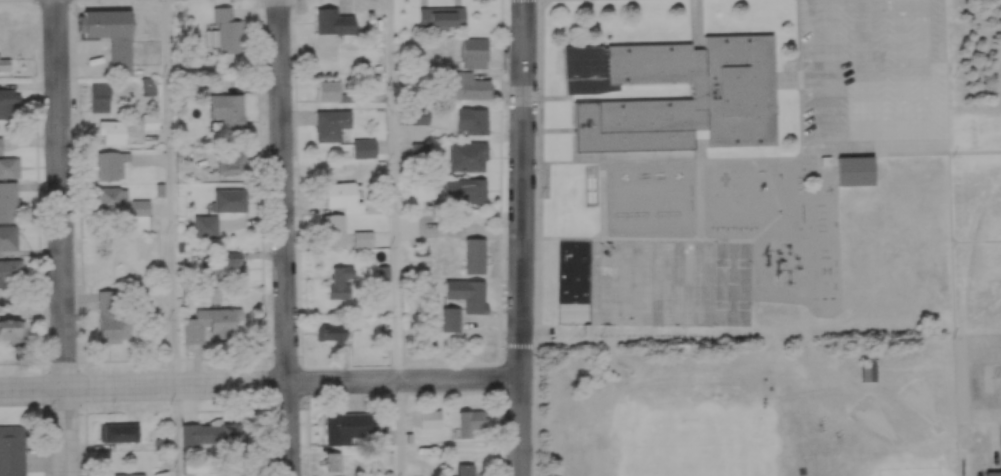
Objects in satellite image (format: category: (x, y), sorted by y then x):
building: (442, 15)
building: (335, 20)
building: (226, 29)
building: (114, 33)
building: (475, 51)
building: (469, 84)
building: (329, 88)
building: (734, 93)
building: (101, 96)
building: (6, 101)
building: (228, 109)
building: (474, 119)
building: (331, 123)
building: (112, 131)
building: (2, 144)
building: (365, 147)
building: (469, 155)
building: (236, 160)
building: (111, 163)
building: (10, 166)
building: (857, 170)
building: (474, 189)
road: (391, 191)
building: (229, 199)
building: (8, 200)
building: (121, 201)
building: (342, 216)
building: (206, 220)
building: (8, 236)
road: (67, 237)
road: (167, 238)
road: (282, 238)
road: (525, 238)
building: (475, 255)
building: (230, 266)
building: (10, 272)
building: (341, 281)
building: (474, 302)
building: (110, 315)
building: (212, 323)
building: (13, 328)
building: (330, 331)
road: (991, 351)
building: (865, 367)
road: (262, 389)
building: (431, 418)
building: (472, 422)
building: (350, 426)
road: (396, 430)
building: (120, 431)
building: (206, 435)
building: (12, 450)
building: (333, 460)
building: (466, 469)
building: (992, 472)
building: (163, 473)
building: (124, 474)

